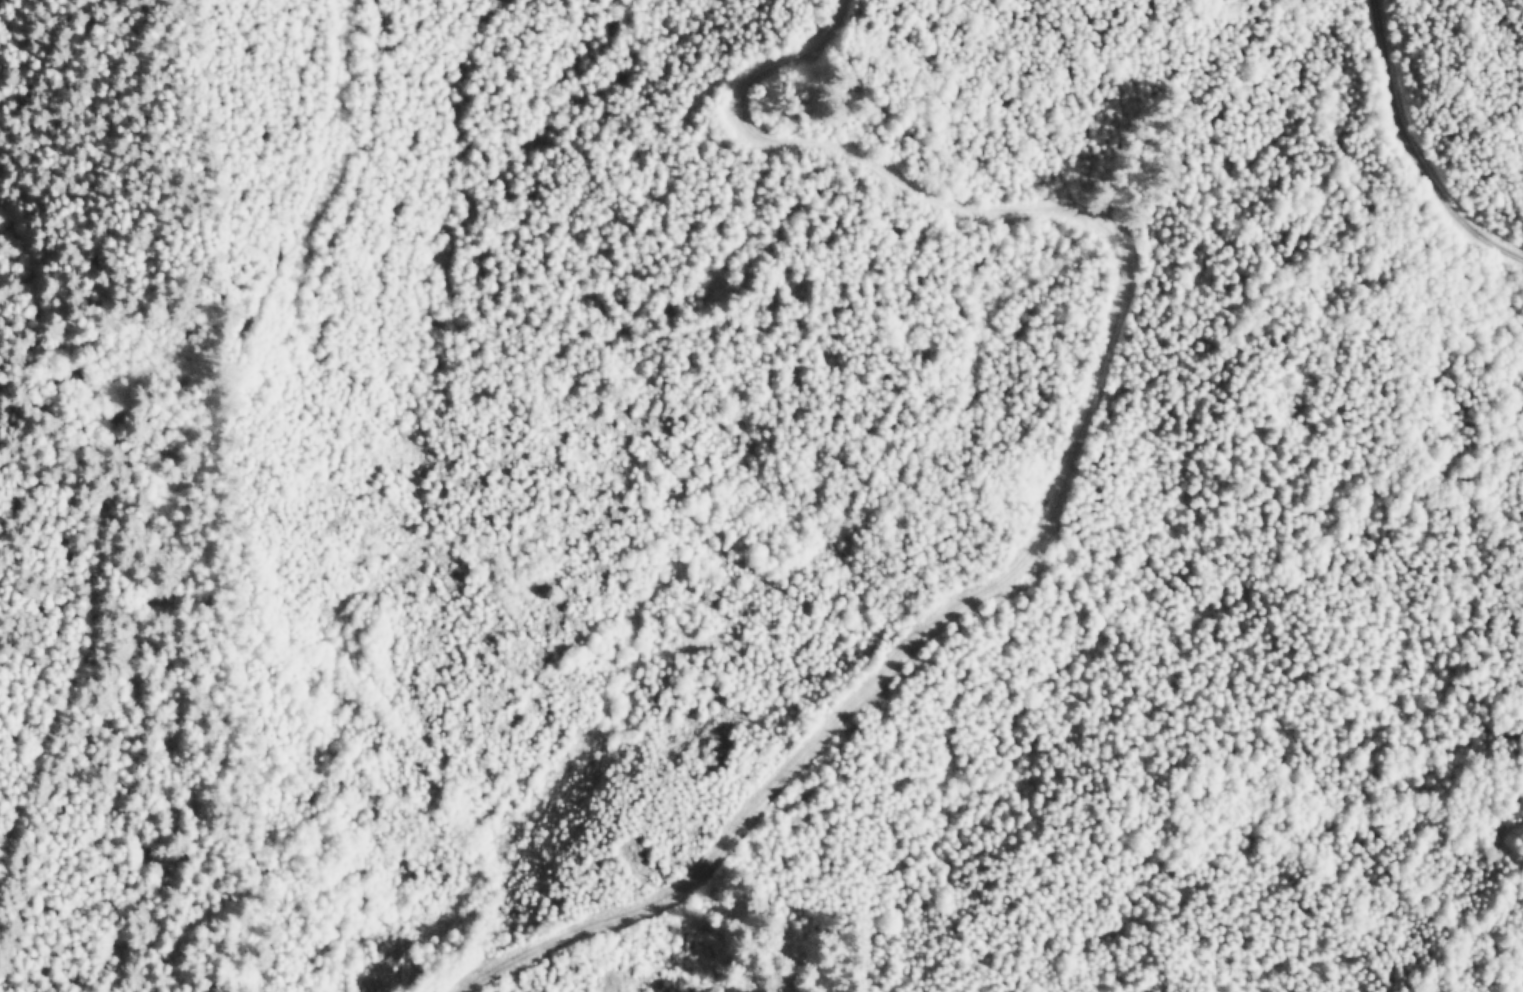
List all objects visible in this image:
road: (1415, 148)
road: (128, 410)
road: (1070, 463)

